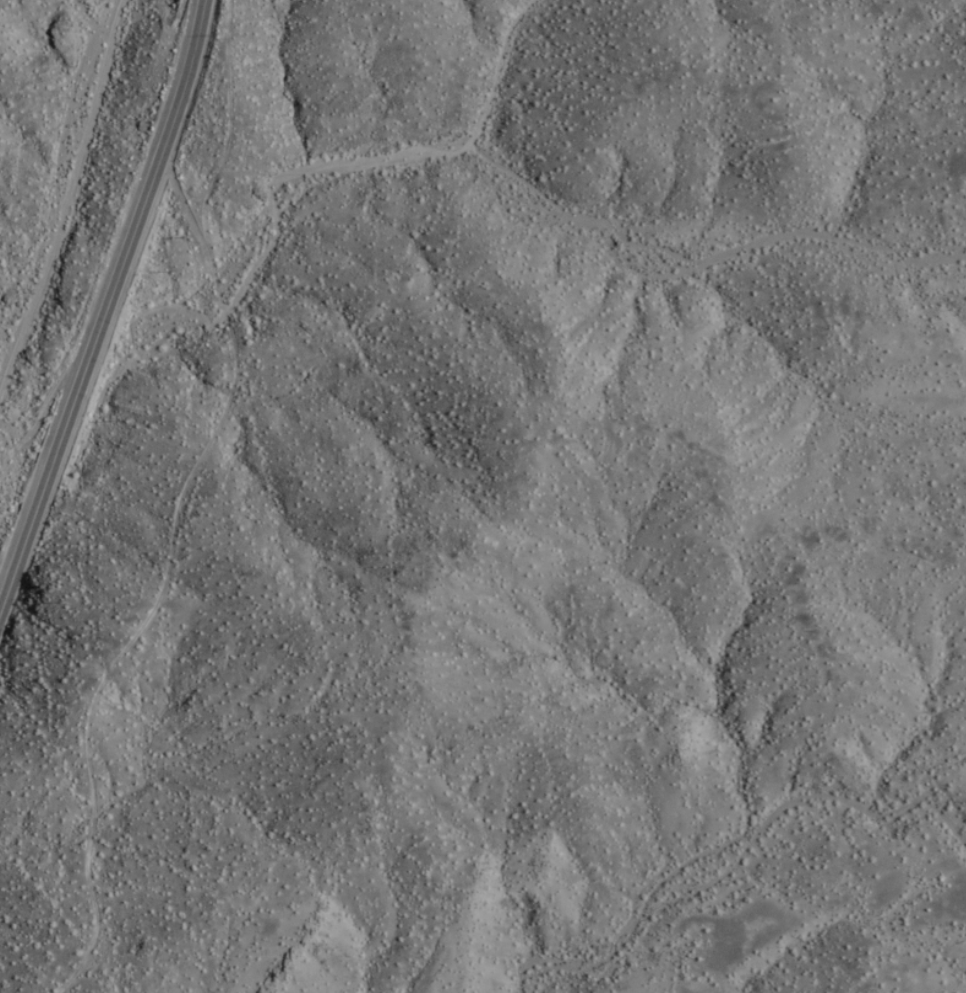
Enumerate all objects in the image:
road: (108, 309)

